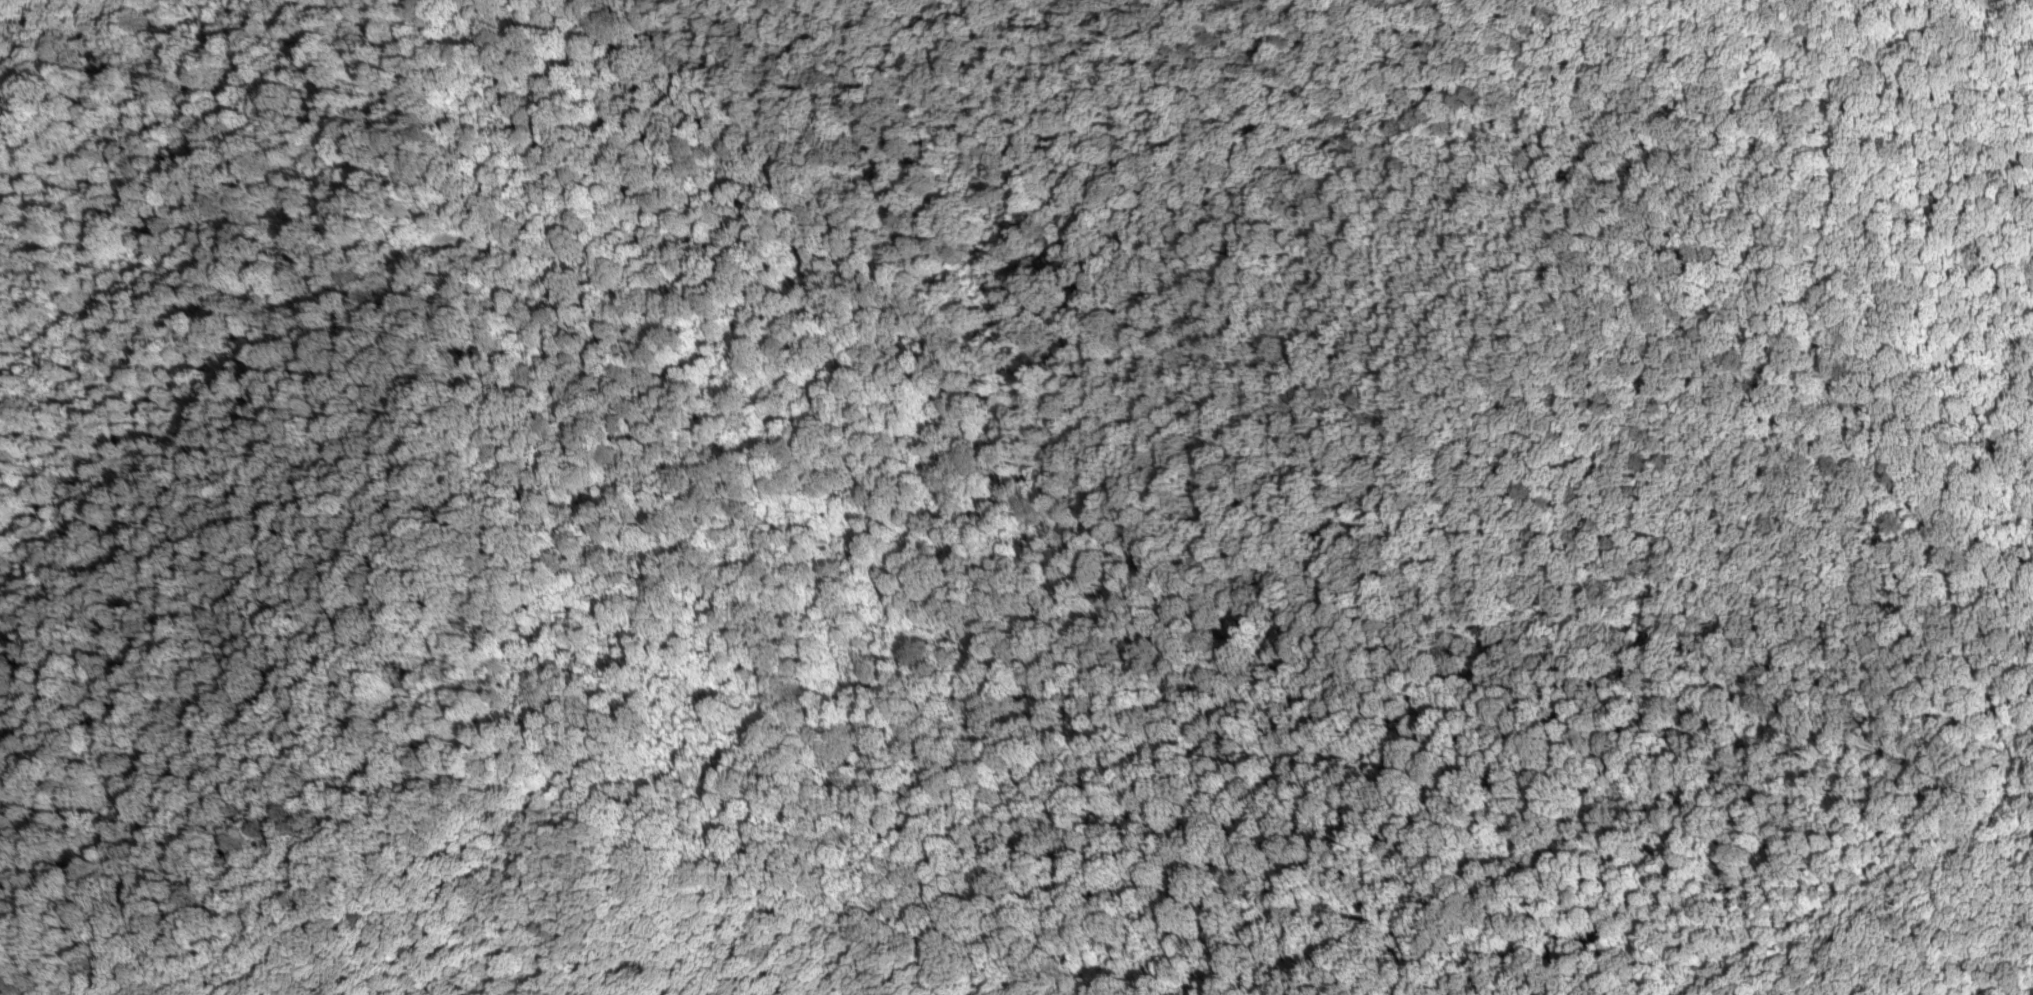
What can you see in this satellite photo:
road: (24, 15)

